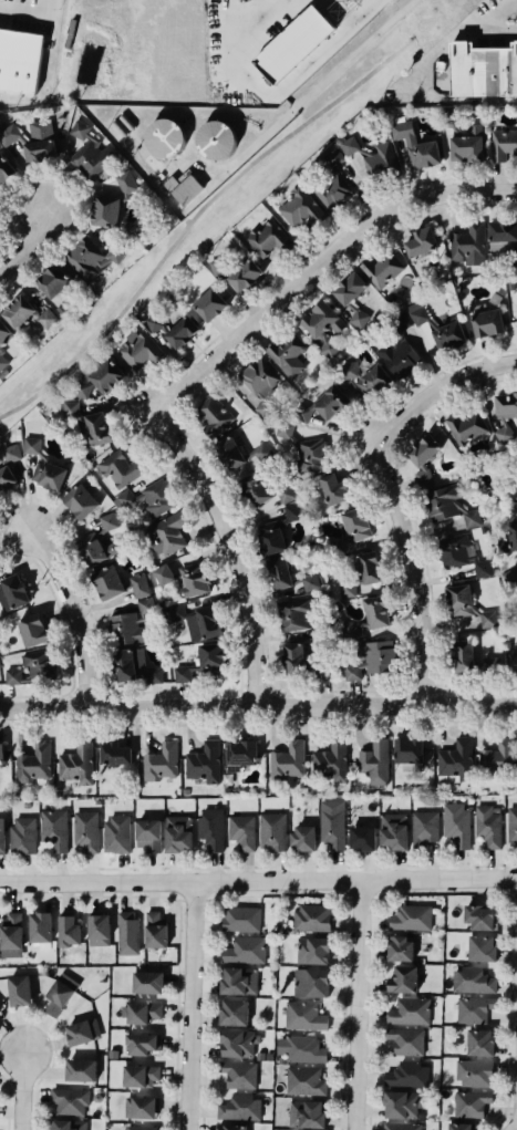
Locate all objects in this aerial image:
building: (293, 44)
building: (20, 62)
road: (427, 65)
building: (482, 66)
road: (323, 79)
building: (449, 121)
building: (9, 135)
building: (165, 137)
building: (502, 139)
building: (216, 141)
building: (40, 142)
building: (463, 142)
building: (416, 146)
building: (91, 152)
building: (371, 156)
building: (6, 170)
building: (126, 183)
building: (332, 183)
road: (209, 199)
building: (300, 209)
building: (105, 211)
building: (127, 230)
building: (0, 231)
building: (502, 235)
building: (266, 237)
building: (420, 241)
building: (468, 243)
road: (32, 248)
building: (93, 258)
building: (515, 260)
road: (321, 266)
building: (380, 268)
building: (235, 271)
building: (53, 281)
building: (351, 297)
building: (210, 304)
building: (25, 313)
building: (417, 313)
building: (516, 317)
building: (485, 320)
building: (402, 322)
building: (322, 325)
building: (172, 328)
building: (4, 333)
building: (452, 335)
building: (1, 350)
building: (138, 351)
building: (288, 355)
building: (397, 356)
building: (2, 361)
building: (363, 376)
building: (99, 377)
building: (261, 385)
building: (321, 404)
building: (506, 414)
building: (211, 415)
building: (89, 423)
building: (465, 426)
building: (237, 453)
building: (422, 458)
building: (3, 466)
building: (43, 466)
building: (120, 467)
building: (262, 489)
building: (332, 490)
road: (399, 496)
building: (516, 497)
building: (147, 499)
building: (81, 501)
building: (452, 505)
building: (110, 521)
building: (276, 530)
building: (349, 530)
building: (166, 535)
building: (509, 539)
building: (93, 549)
road: (238, 549)
building: (461, 556)
building: (0, 571)
building: (162, 573)
building: (279, 573)
building: (362, 574)
building: (192, 579)
building: (511, 581)
building: (120, 584)
building: (12, 593)
building: (461, 601)
road: (81, 611)
building: (177, 611)
building: (292, 612)
building: (489, 619)
building: (208, 622)
building: (130, 625)
building: (351, 629)
building: (32, 630)
building: (464, 655)
building: (210, 659)
building: (371, 661)
building: (294, 662)
building: (513, 663)
building: (489, 666)
building: (131, 667)
building: (33, 668)
building: (183, 673)
road: (258, 707)
building: (407, 750)
building: (114, 753)
building: (241, 753)
building: (1, 755)
building: (498, 756)
building: (455, 759)
building: (330, 760)
building: (373, 760)
building: (286, 761)
building: (159, 763)
building: (204, 763)
building: (76, 764)
building: (34, 765)
building: (455, 823)
building: (511, 823)
building: (332, 825)
building: (487, 826)
building: (210, 828)
building: (52, 829)
building: (424, 829)
building: (85, 830)
building: (241, 831)
building: (272, 832)
building: (393, 832)
building: (21, 833)
building: (116, 834)
building: (146, 834)
building: (178, 834)
building: (1, 837)
building: (361, 838)
building: (302, 839)
road: (258, 885)
building: (411, 918)
building: (479, 918)
building: (240, 919)
building: (312, 919)
building: (99, 929)
building: (41, 930)
building: (12, 931)
building: (69, 931)
building: (154, 931)
building: (127, 933)
building: (399, 948)
building: (482, 948)
building: (312, 950)
building: (245, 951)
building: (472, 979)
building: (237, 981)
building: (404, 981)
building: (310, 982)
building: (146, 983)
building: (20, 991)
building: (60, 995)
road: (193, 1007)
road: (356, 1008)
building: (473, 1008)
building: (0, 1009)
building: (409, 1010)
building: (141, 1013)
building: (232, 1013)
building: (303, 1016)
building: (80, 1033)
building: (406, 1041)
building: (479, 1043)
building: (141, 1044)
building: (239, 1044)
building: (300, 1048)
building: (81, 1070)
building: (474, 1072)
building: (138, 1075)
building: (239, 1075)
building: (406, 1075)
building: (304, 1081)
road: (21, 1090)
building: (70, 1101)
building: (401, 1103)
building: (472, 1103)
building: (139, 1108)
building: (239, 1108)
building: (307, 1113)
building: (69, 1124)
building: (462, 1126)
building: (230, 1127)
building: (401, 1127)
building: (138, 1128)

